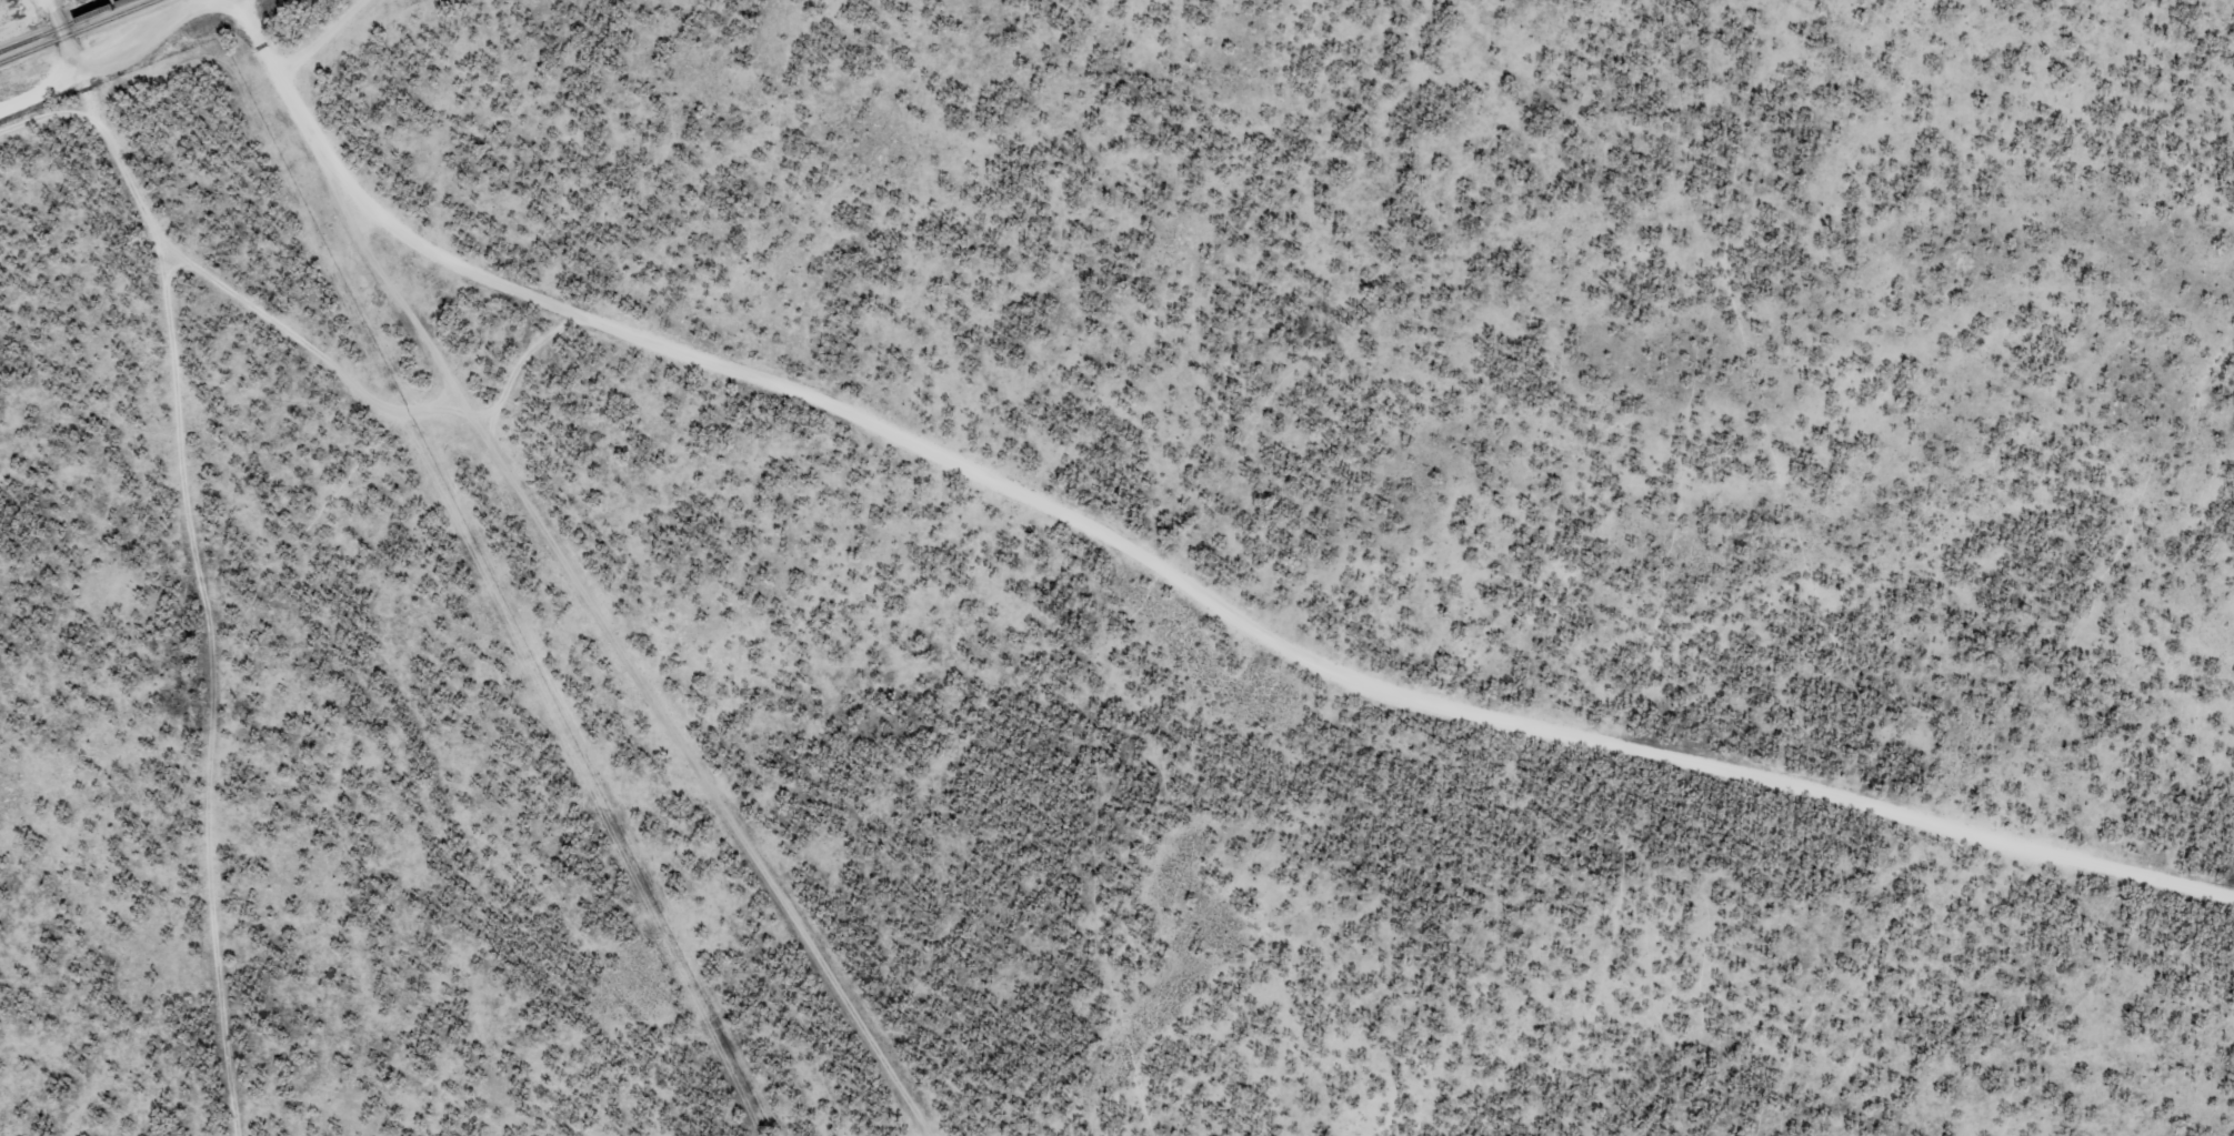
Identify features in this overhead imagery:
railway: (62, 24)
railway: (77, 30)

